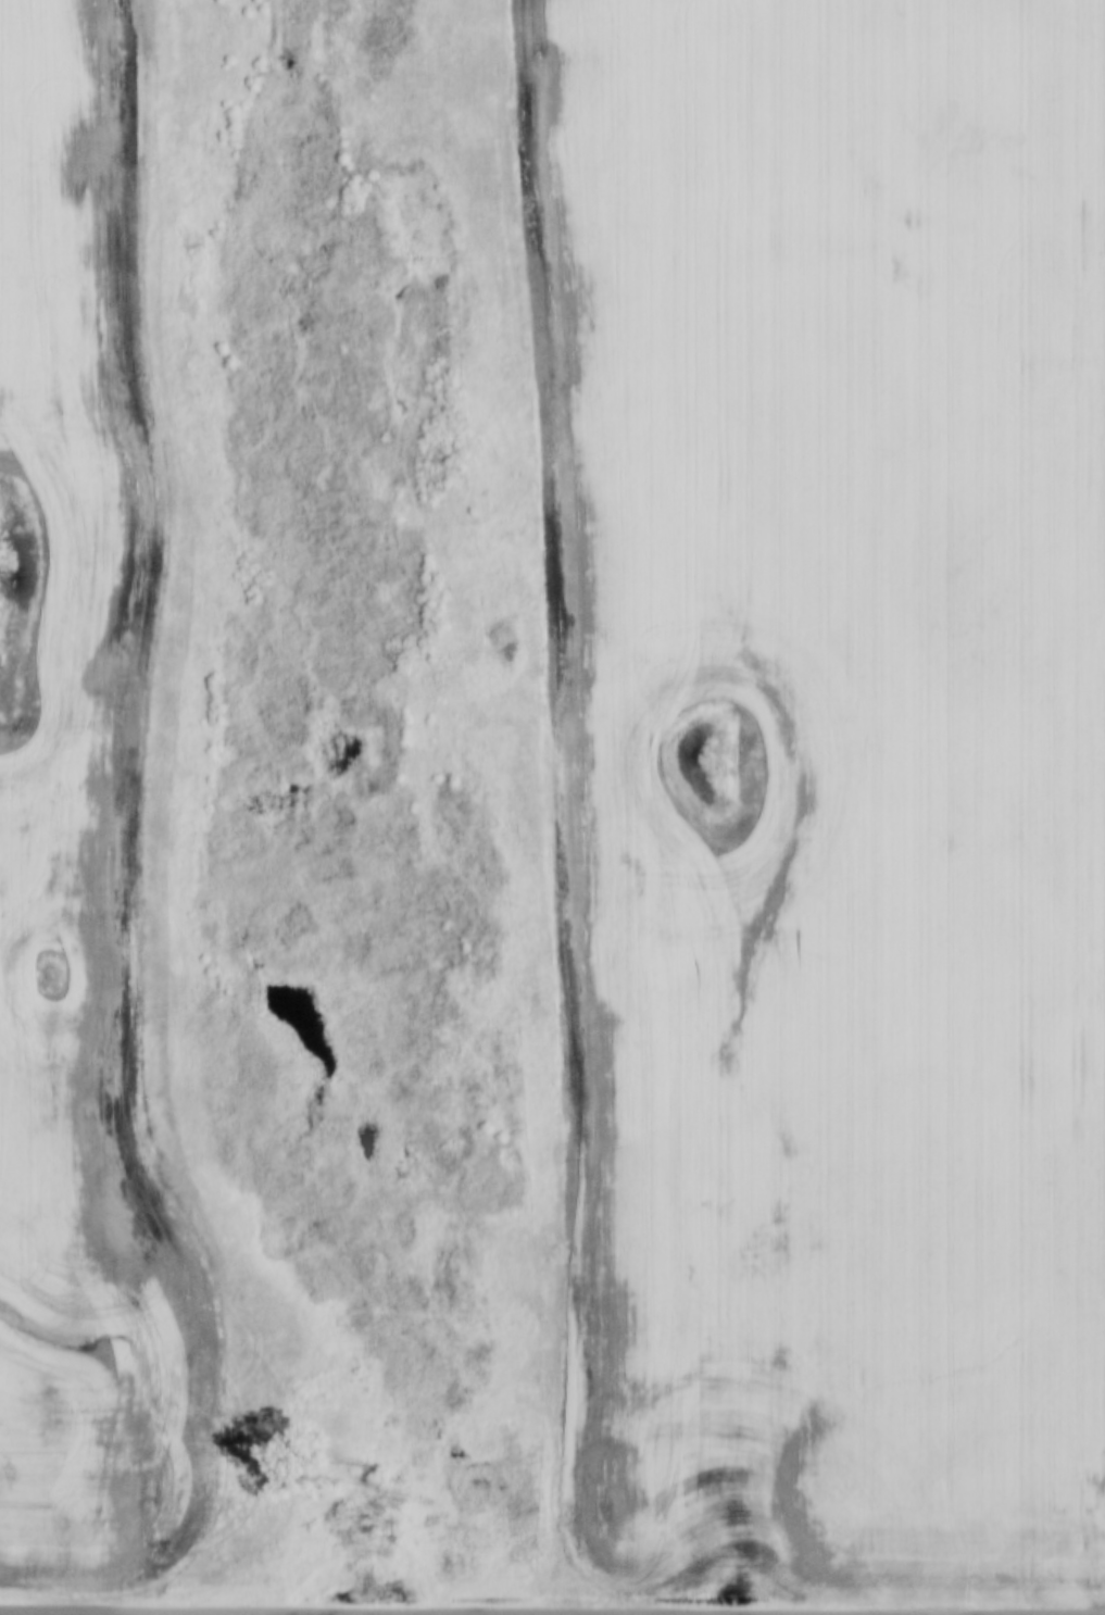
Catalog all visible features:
road: (552, 1611)

